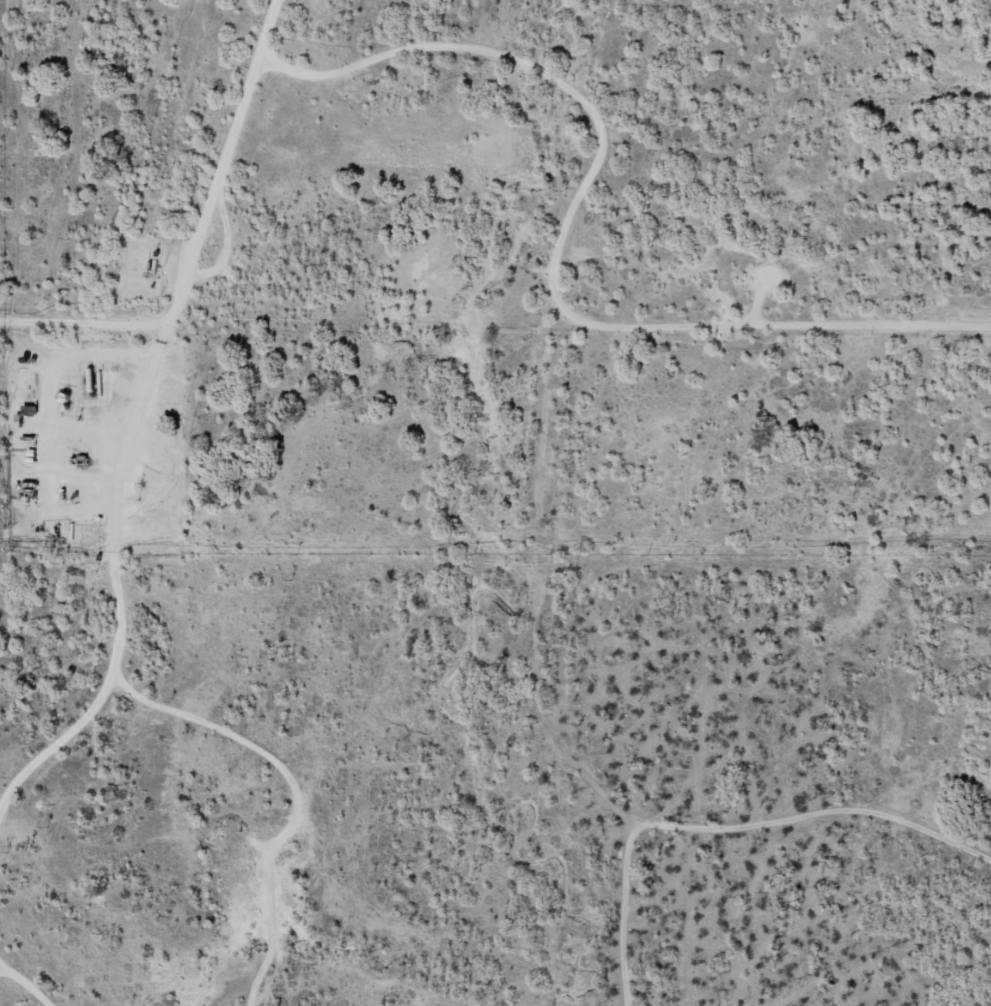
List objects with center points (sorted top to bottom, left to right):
building: (29, 410)

